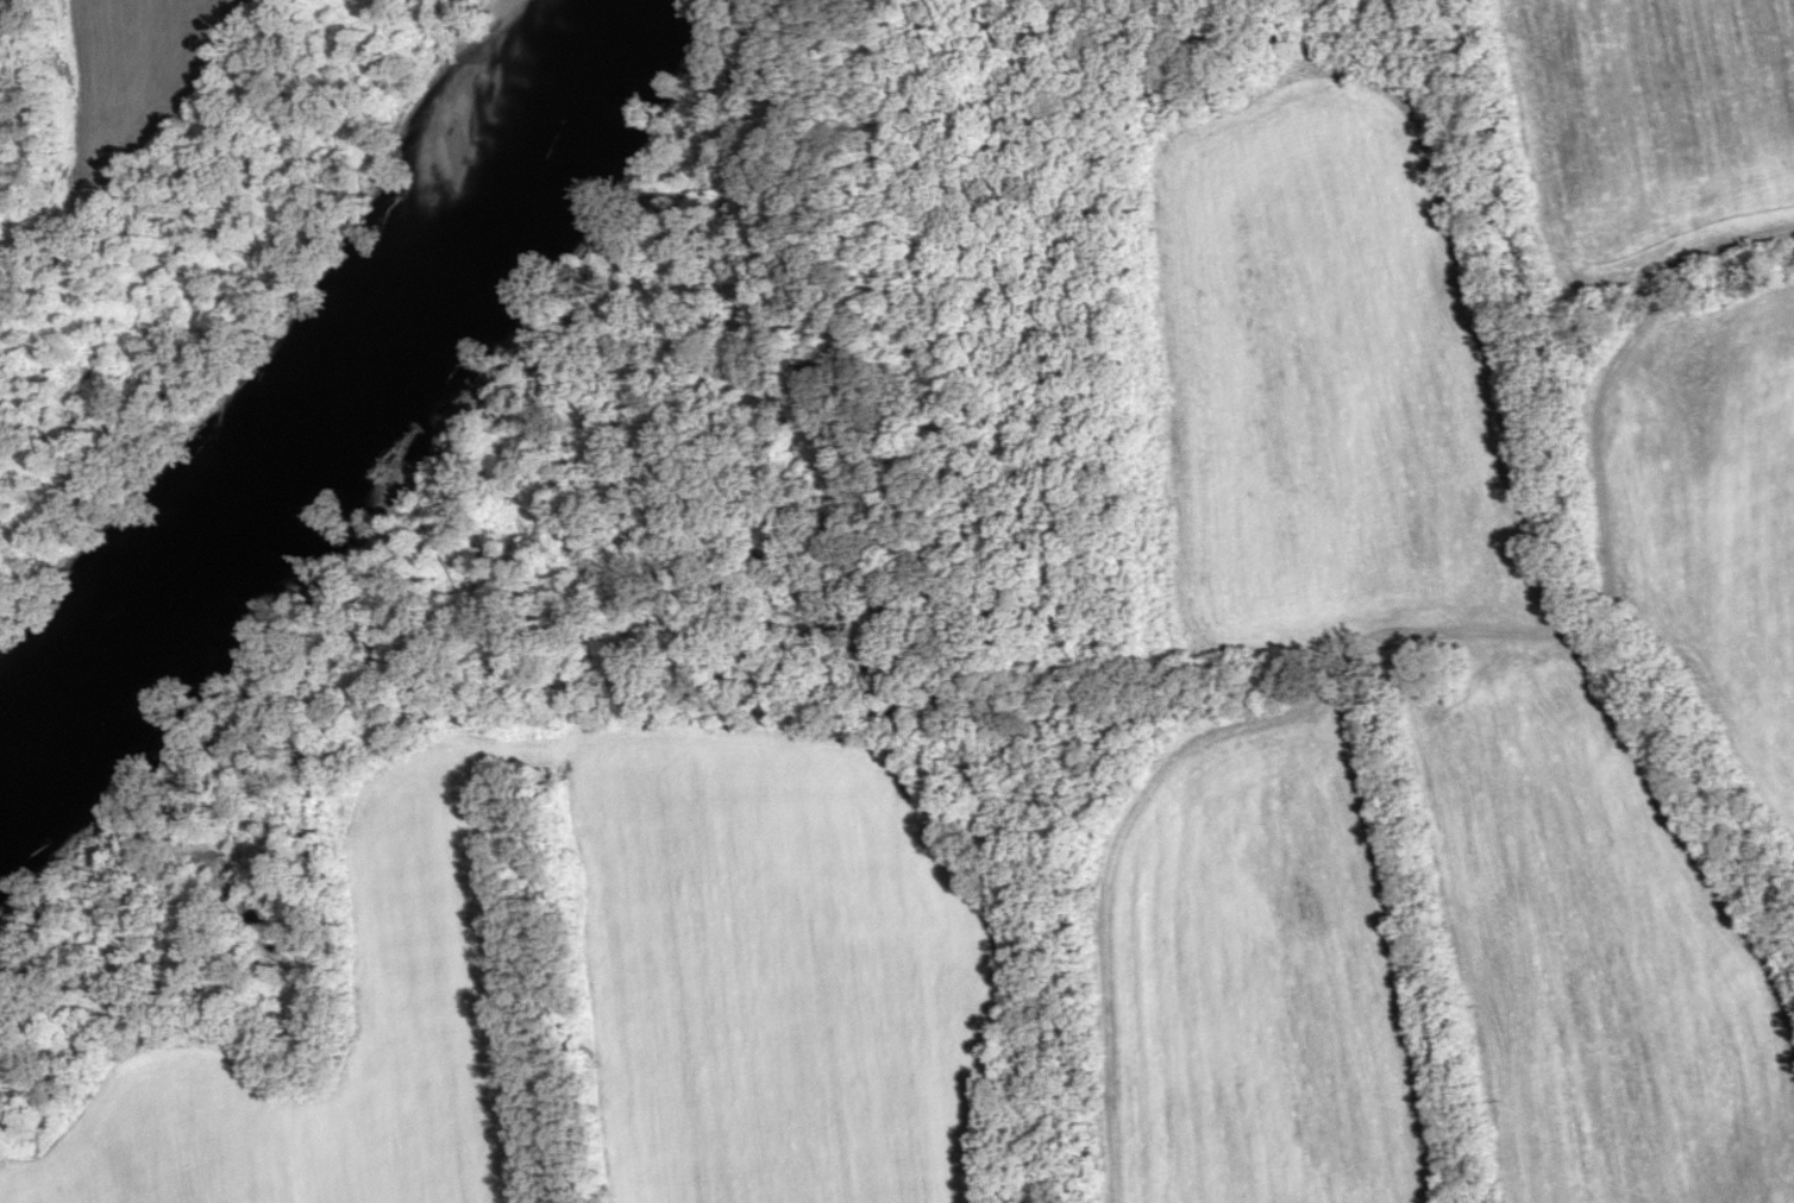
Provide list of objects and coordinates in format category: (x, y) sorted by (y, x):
river: (343, 397)

